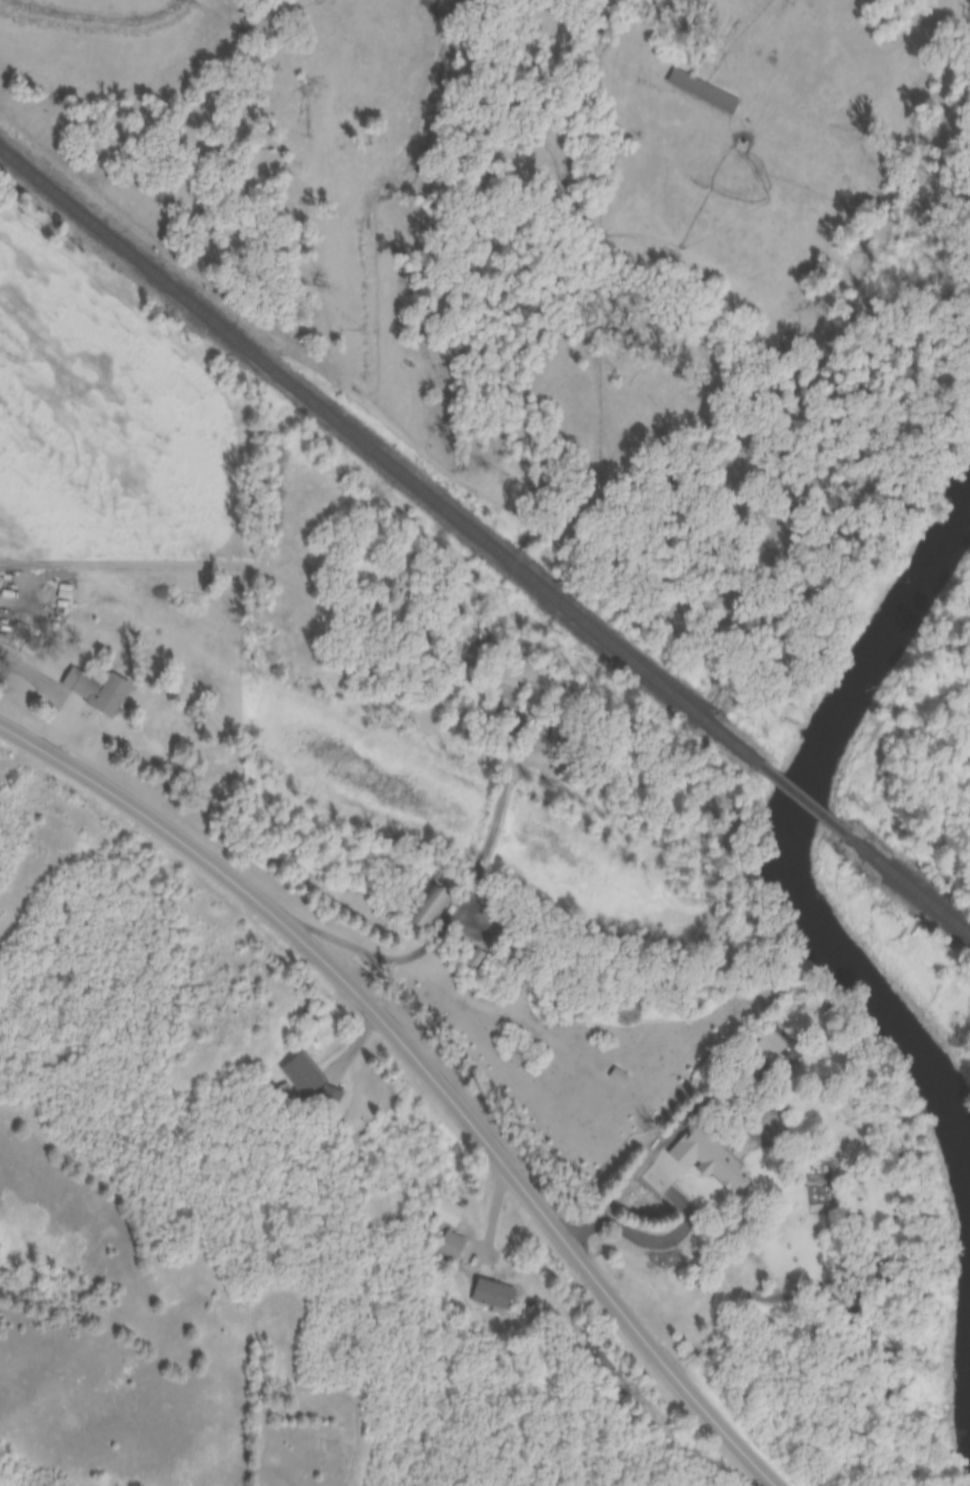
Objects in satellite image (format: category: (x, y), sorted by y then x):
building: (700, 90)
railway: (376, 454)
road: (159, 558)
road: (40, 673)
building: (96, 690)
road: (58, 728)
building: (559, 735)
railway: (799, 797)
river: (790, 850)
road: (473, 877)
railway: (908, 886)
road: (426, 1065)
building: (300, 1074)
building: (616, 1076)
road: (631, 1179)
building: (447, 1212)
building: (451, 1242)
building: (493, 1295)
river: (968, 1339)

